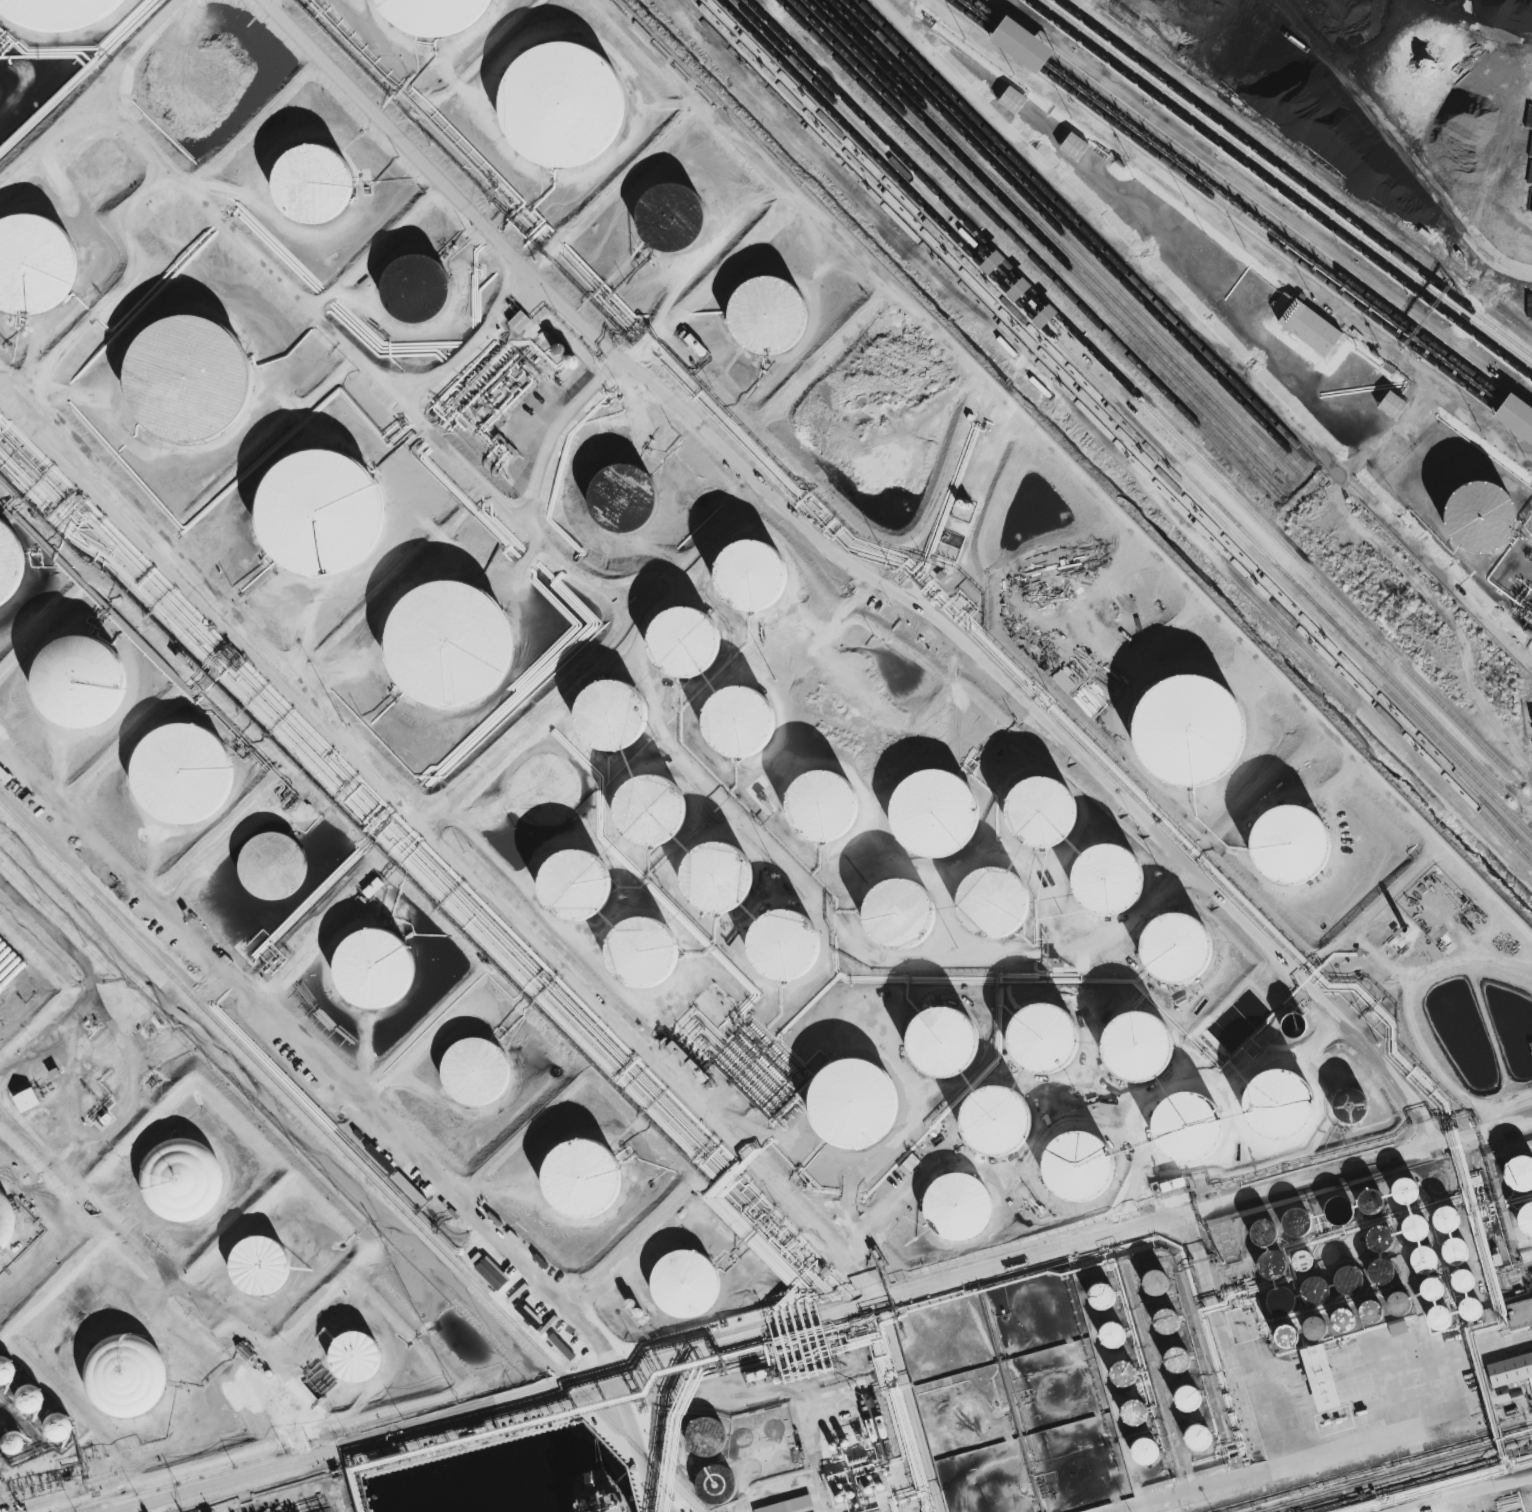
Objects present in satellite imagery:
building: (59, 13)
storage tank: (59, 13)
building: (433, 14)
storage tank: (433, 14)
building: (1025, 44)
road: (93, 90)
building: (1013, 100)
building: (563, 104)
storage tank: (563, 104)
building: (1075, 146)
road: (1399, 146)
railway: (1293, 178)
building: (314, 182)
storage tank: (314, 182)
railway: (1286, 183)
railway: (1278, 189)
road: (1263, 200)
railway: (1253, 209)
building: (672, 216)
storage tank: (672, 216)
railway: (1240, 218)
road: (1225, 227)
railway: (1086, 234)
railway: (1076, 237)
railway: (1066, 240)
railway: (1057, 243)
railway: (1047, 246)
railway: (1037, 249)
railway: (1026, 253)
building: (33, 263)
storage tank: (33, 263)
building: (994, 263)
building: (416, 288)
storage tank: (416, 288)
building: (768, 314)
storage tank: (768, 314)
building: (520, 322)
building: (1312, 328)
road: (1207, 329)
building: (559, 350)
building: (184, 373)
storage tank: (184, 373)
railway: (1134, 394)
railway: (1124, 396)
railway: (1114, 400)
railway: (1103, 403)
building: (1394, 405)
building: (1518, 417)
railway: (1116, 428)
railway: (1106, 432)
building: (620, 497)
storage tank: (620, 497)
building: (324, 511)
storage tank: (324, 511)
building: (1486, 521)
storage tank: (1486, 521)
road: (819, 537)
building: (6, 564)
storage tank: (6, 564)
building: (753, 577)
storage tank: (753, 577)
building: (451, 643)
storage tank: (451, 643)
building: (686, 645)
storage tank: (686, 645)
building: (85, 681)
storage tank: (85, 681)
building: (613, 715)
storage tank: (613, 715)
building: (738, 723)
storage tank: (738, 723)
building: (1191, 731)
storage tank: (1191, 731)
building: (180, 769)
storage tank: (180, 769)
building: (822, 806)
storage tank: (822, 806)
building: (653, 812)
storage tank: (653, 812)
building: (934, 814)
storage tank: (934, 814)
building: (1043, 814)
storage tank: (1043, 814)
railway: (1516, 822)
building: (1291, 844)
storage tank: (1291, 844)
road: (443, 847)
building: (273, 866)
storage tank: (273, 866)
building: (717, 878)
storage tank: (717, 878)
building: (1108, 880)
storage tank: (1108, 880)
building: (574, 885)
storage tank: (574, 885)
building: (372, 888)
building: (994, 902)
storage tank: (994, 902)
building: (900, 913)
storage tank: (900, 913)
building: (784, 945)
storage tank: (784, 945)
building: (1177, 948)
storage tank: (1177, 948)
building: (642, 952)
storage tank: (642, 952)
building: (375, 969)
storage tank: (375, 969)
building: (943, 1043)
storage tank: (943, 1043)
building: (1048, 1043)
storage tank: (1048, 1043)
building: (1138, 1049)
storage tank: (1138, 1049)
building: (471, 1074)
storage tank: (471, 1074)
building: (25, 1099)
building: (1282, 1102)
storage tank: (1282, 1102)
building: (851, 1103)
storage tank: (851, 1103)
road: (1408, 1109)
building: (997, 1120)
storage tank: (997, 1120)
building: (1190, 1127)
storage tank: (1190, 1127)
railway: (349, 1157)
building: (1081, 1165)
storage tank: (1081, 1165)
building: (1516, 1167)
road: (1364, 1171)
road: (433, 1177)
building: (181, 1179)
storage tank: (184, 1179)
building: (581, 1180)
storage tank: (581, 1180)
building: (1401, 1184)
road: (67, 1190)
building: (1368, 1195)
building: (1335, 1204)
building: (961, 1206)
storage tank: (961, 1206)
building: (0, 1208)
building: (1442, 1212)
building: (1524, 1213)
building: (1291, 1215)
storage tank: (4, 1220)
building: (1410, 1221)
building: (1258, 1225)
building: (1376, 1232)
building: (1267, 1233)
building: (1450, 1242)
building: (1418, 1250)
building: (1457, 1250)
building: (1297, 1256)
building: (1266, 1258)
building: (1427, 1259)
building: (261, 1264)
storage tank: (263, 1266)
building: (1375, 1266)
road: (49, 1269)
building: (1456, 1272)
building: (1344, 1274)
building: (1151, 1275)
building: (1467, 1278)
building: (1426, 1280)
building: (1310, 1281)
storage tank: (683, 1284)
building: (1438, 1287)
building: (1096, 1290)
building: (1273, 1295)
building: (1391, 1296)
building: (1026, 1298)
building: (1531, 1298)
building: (1465, 1300)
building: (1363, 1302)
building: (1431, 1308)
building: (1473, 1308)
building: (1337, 1312)
building: (1161, 1315)
building: (1442, 1317)
building: (1306, 1319)
building: (1277, 1328)
building: (1397, 1328)
building: (1108, 1329)
building: (1291, 1335)
building: (1171, 1354)
building: (357, 1356)
building: (1181, 1358)
road: (655, 1359)
building: (1119, 1367)
building: (1511, 1369)
building: (7, 1370)
building: (125, 1375)
storage tank: (126, 1378)
building: (1531, 1382)
building: (1050, 1386)
building: (1182, 1393)
building: (30, 1398)
road: (1298, 1406)
building: (1129, 1407)
building: (960, 1412)
building: (59, 1426)
building: (1195, 1433)
building: (705, 1437)
storage tank: (705, 1438)
building: (1139, 1447)
railway: (1371, 1467)
building: (1073, 1473)
railway: (1394, 1473)
storage tank: (716, 1485)
building: (986, 1495)
building: (787, 1505)

